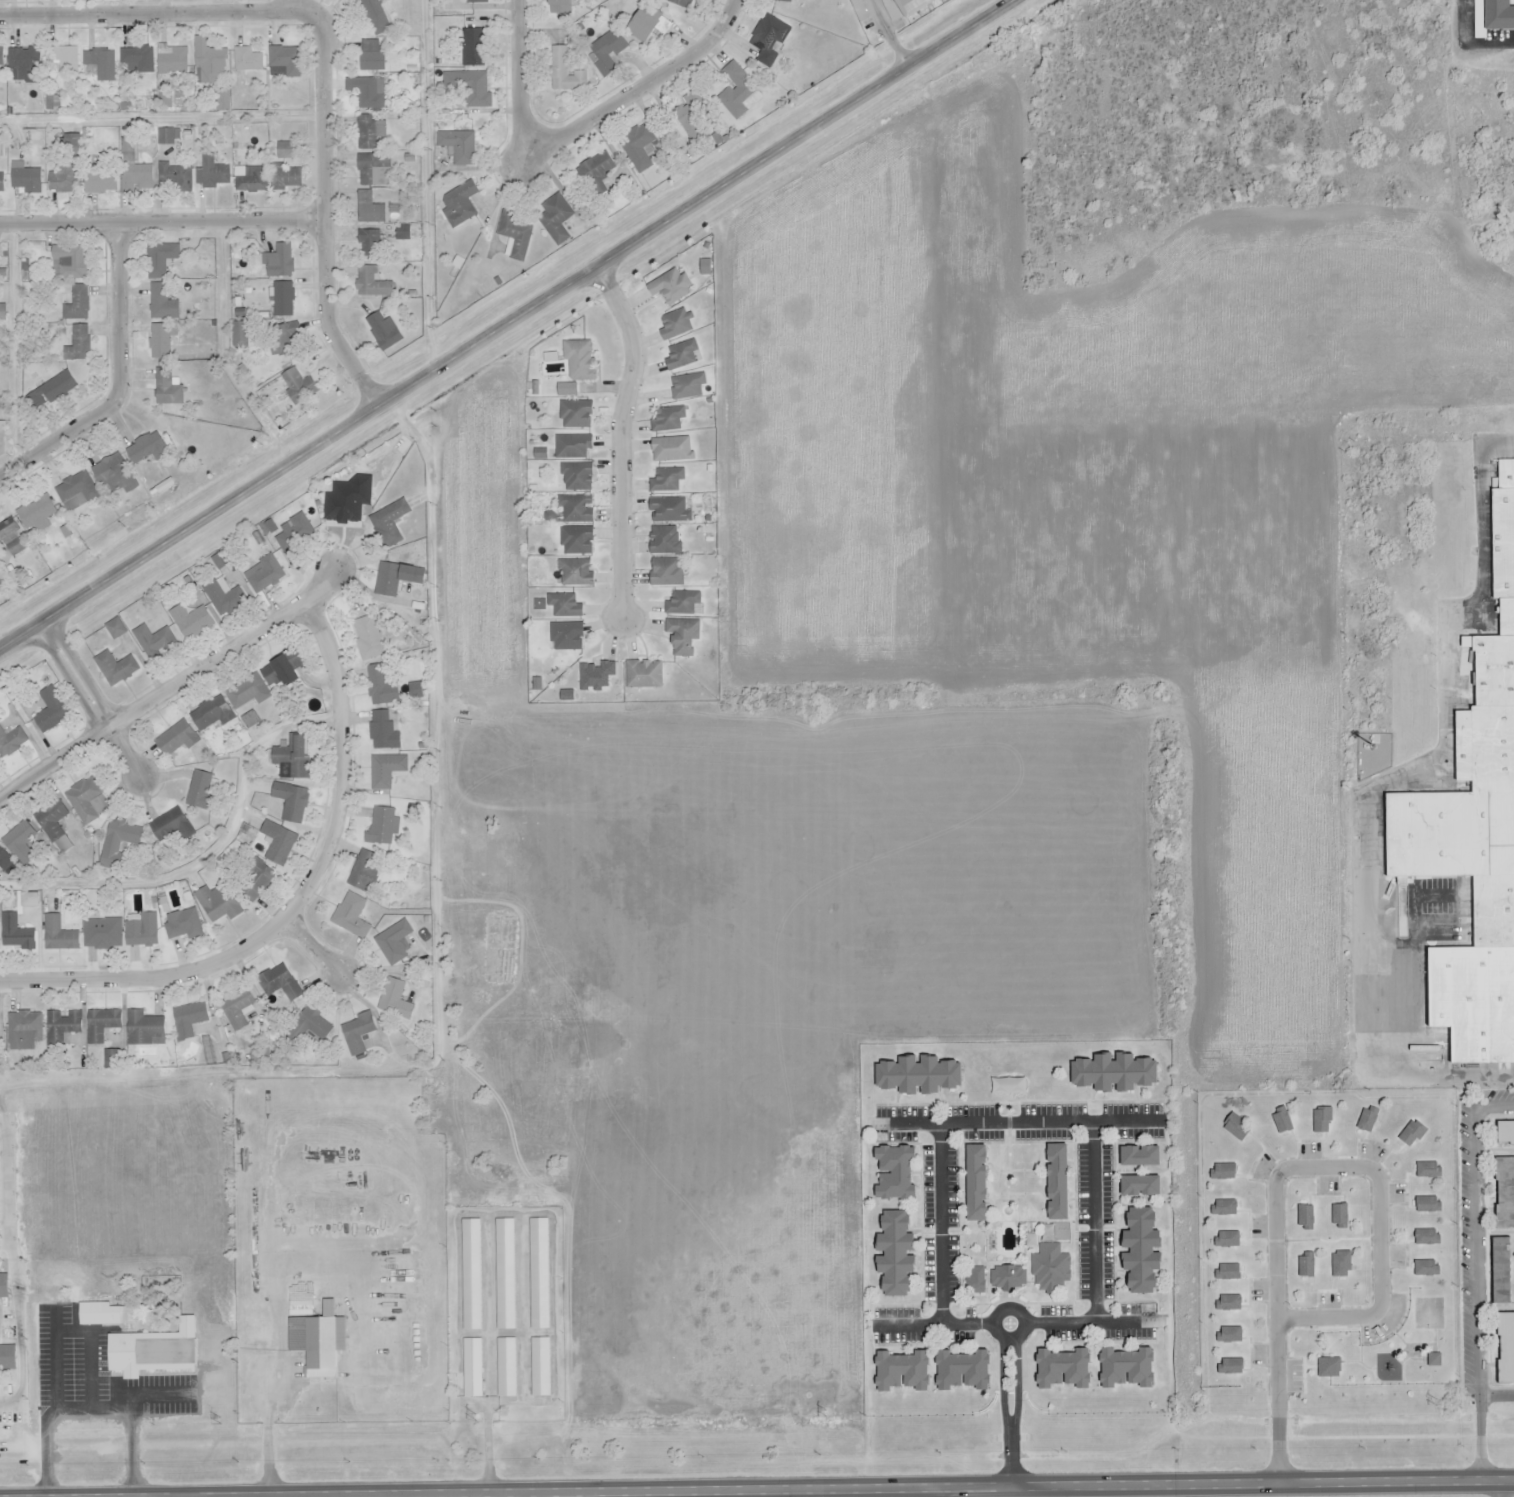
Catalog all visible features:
building: (480, 1)
building: (783, 1)
building: (562, 2)
building: (683, 3)
building: (915, 6)
building: (892, 9)
building: (1500, 14)
building: (375, 16)
building: (646, 24)
road: (889, 35)
building: (770, 39)
building: (475, 48)
building: (609, 50)
building: (374, 57)
building: (138, 59)
building: (171, 59)
road: (329, 59)
building: (0, 60)
building: (65, 60)
building: (287, 60)
building: (249, 61)
building: (211, 62)
building: (102, 64)
building: (26, 65)
building: (566, 73)
building: (471, 88)
building: (738, 91)
building: (368, 93)
building: (51, 103)
building: (691, 114)
road: (588, 124)
building: (366, 133)
building: (166, 137)
building: (461, 146)
building: (129, 147)
building: (638, 147)
building: (287, 150)
building: (410, 159)
building: (597, 166)
building: (370, 167)
road: (510, 171)
building: (213, 173)
building: (175, 177)
building: (26, 178)
building: (138, 178)
building: (286, 179)
building: (64, 180)
building: (253, 181)
building: (2, 183)
building: (102, 183)
building: (463, 204)
building: (369, 209)
building: (558, 219)
road: (165, 222)
building: (514, 233)
building: (372, 244)
building: (161, 259)
building: (281, 261)
building: (70, 262)
building: (374, 285)
building: (672, 287)
building: (284, 301)
building: (163, 303)
building: (78, 304)
building: (676, 326)
road: (511, 329)
building: (385, 331)
building: (288, 332)
building: (239, 335)
building: (163, 341)
building: (80, 346)
building: (682, 356)
building: (552, 358)
building: (580, 360)
road: (118, 381)
building: (300, 386)
building: (687, 386)
building: (166, 389)
building: (57, 390)
building: (577, 415)
building: (668, 420)
building: (3, 434)
road: (623, 440)
building: (574, 446)
building: (148, 449)
building: (673, 450)
building: (541, 454)
building: (112, 472)
building: (578, 476)
building: (666, 481)
building: (76, 489)
building: (348, 501)
building: (577, 509)
building: (671, 511)
building: (37, 512)
building: (388, 523)
building: (12, 534)
building: (294, 536)
building: (578, 540)
building: (665, 540)
building: (666, 573)
building: (577, 574)
building: (266, 575)
building: (388, 581)
road: (326, 587)
building: (225, 599)
building: (683, 603)
building: (565, 605)
building: (192, 621)
building: (567, 636)
building: (683, 636)
building: (369, 639)
building: (154, 641)
building: (116, 668)
building: (285, 669)
building: (646, 675)
building: (597, 676)
building: (537, 684)
building: (380, 686)
building: (248, 692)
building: (566, 695)
road: (98, 700)
road: (155, 701)
building: (52, 711)
building: (212, 715)
building: (383, 730)
building: (176, 740)
building: (12, 744)
building: (296, 756)
building: (386, 771)
building: (201, 791)
building: (85, 801)
building: (292, 803)
building: (52, 819)
building: (383, 827)
building: (168, 828)
building: (1474, 832)
building: (18, 842)
building: (118, 844)
building: (278, 844)
building: (6, 862)
building: (363, 870)
building: (258, 878)
building: (217, 902)
road: (294, 903)
building: (352, 917)
building: (182, 925)
building: (143, 932)
building: (103, 935)
building: (17, 937)
building: (60, 937)
building: (396, 945)
road: (318, 946)
building: (275, 981)
building: (396, 1002)
building: (237, 1009)
building: (189, 1020)
building: (0, 1024)
building: (101, 1024)
building: (311, 1024)
building: (61, 1029)
building: (144, 1030)
building: (25, 1034)
building: (359, 1035)
building: (110, 1059)
building: (226, 1059)
building: (1120, 1075)
building: (920, 1076)
building: (1282, 1122)
building: (1321, 1122)
road: (1052, 1123)
building: (1366, 1123)
building: (1235, 1128)
building: (1507, 1133)
building: (1411, 1135)
building: (1141, 1156)
road: (1301, 1169)
building: (1428, 1171)
building: (897, 1172)
building: (1223, 1172)
building: (980, 1182)
building: (1061, 1182)
building: (1142, 1186)
building: (1506, 1195)
building: (1428, 1206)
building: (1225, 1209)
building: (1339, 1217)
building: (1305, 1218)
road: (487, 1227)
building: (1428, 1239)
building: (1225, 1240)
building: (1145, 1250)
building: (899, 1255)
building: (1343, 1264)
building: (1306, 1266)
building: (1050, 1269)
building: (1426, 1269)
building: (1504, 1271)
building: (1228, 1273)
road: (1480, 1274)
building: (472, 1275)
building: (505, 1276)
building: (539, 1276)
building: (1008, 1277)
building: (976, 1280)
building: (3, 1287)
building: (167, 1291)
road: (280, 1298)
building: (1229, 1304)
building: (103, 1315)
road: (935, 1326)
road: (1003, 1332)
road: (1007, 1335)
building: (1230, 1336)
building: (317, 1344)
building: (1507, 1348)
building: (158, 1351)
building: (8, 1359)
building: (1434, 1361)
building: (540, 1367)
building: (1230, 1367)
building: (472, 1368)
building: (506, 1368)
building: (1129, 1369)
building: (1329, 1369)
building: (966, 1370)
building: (1067, 1370)
building: (904, 1372)
power tower: (1435, 1401)
power tower: (1174, 1408)
power tower: (823, 1412)
power tower: (474, 1416)
power tower: (218, 1420)
road: (1010, 1453)
road: (890, 1488)
road: (1499, 1489)

